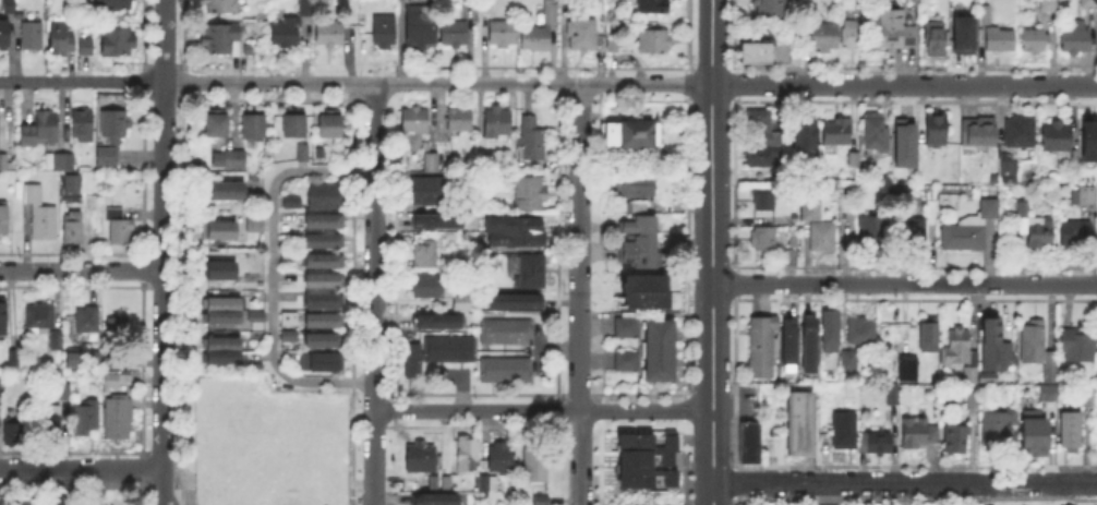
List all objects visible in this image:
building: (470, 1)
building: (568, 2)
building: (1088, 4)
building: (114, 5)
building: (1050, 5)
building: (9, 8)
building: (768, 8)
building: (221, 9)
building: (306, 9)
building: (653, 9)
building: (987, 15)
building: (547, 27)
building: (421, 28)
building: (891, 29)
building: (961, 33)
building: (385, 34)
building: (852, 34)
building: (286, 35)
building: (456, 35)
building: (329, 37)
building: (503, 37)
building: (33, 38)
building: (583, 38)
building: (4, 39)
building: (652, 39)
building: (911, 39)
building: (61, 40)
building: (825, 40)
building: (937, 40)
building: (1002, 40)
building: (222, 44)
building: (1036, 44)
building: (117, 46)
building: (1076, 46)
building: (85, 47)
building: (614, 48)
building: (767, 57)
road: (721, 68)
road: (82, 79)
road: (269, 81)
road: (543, 82)
road: (904, 84)
building: (760, 123)
building: (292, 124)
building: (460, 124)
building: (251, 125)
building: (417, 125)
building: (83, 127)
road: (375, 127)
road: (580, 128)
building: (936, 128)
building: (114, 129)
building: (217, 129)
building: (495, 130)
building: (40, 131)
building: (1088, 131)
building: (876, 134)
building: (1022, 134)
building: (839, 135)
building: (980, 136)
building: (331, 140)
building: (807, 140)
building: (1058, 141)
building: (634, 143)
building: (902, 143)
building: (531, 146)
building: (301, 153)
building: (108, 158)
building: (762, 158)
building: (60, 161)
building: (236, 161)
building: (3, 163)
building: (433, 166)
building: (788, 169)
building: (1008, 172)
building: (1051, 180)
building: (630, 183)
building: (530, 191)
building: (321, 194)
building: (431, 194)
building: (221, 196)
building: (289, 200)
building: (1087, 200)
building: (93, 205)
building: (634, 205)
building: (764, 205)
building: (813, 212)
building: (2, 216)
building: (40, 217)
building: (438, 218)
building: (323, 221)
building: (253, 224)
building: (516, 228)
building: (120, 230)
building: (74, 231)
building: (971, 231)
building: (1036, 232)
building: (873, 233)
building: (916, 233)
building: (222, 235)
building: (1077, 237)
building: (763, 238)
building: (636, 240)
building: (823, 240)
building: (323, 241)
road: (164, 252)
road: (712, 252)
building: (288, 257)
building: (426, 258)
building: (323, 262)
building: (532, 269)
road: (82, 270)
road: (272, 273)
building: (220, 276)
building: (322, 282)
road: (905, 282)
building: (427, 288)
building: (642, 289)
road: (374, 290)
road: (579, 291)
building: (514, 299)
building: (322, 302)
building: (465, 305)
building: (224, 313)
building: (2, 315)
building: (41, 315)
building: (286, 316)
building: (256, 317)
building: (88, 320)
building: (120, 322)
building: (323, 323)
building: (438, 323)
building: (624, 325)
building: (861, 333)
building: (506, 334)
building: (829, 335)
building: (289, 336)
building: (931, 337)
building: (52, 338)
building: (786, 339)
building: (323, 341)
building: (804, 345)
building: (1036, 345)
building: (1075, 346)
building: (446, 347)
building: (656, 348)
building: (764, 349)
building: (222, 351)
building: (993, 352)
building: (11, 356)
building: (70, 356)
building: (963, 357)
building: (410, 358)
building: (1096, 358)
building: (624, 359)
building: (849, 359)
building: (323, 362)
building: (255, 366)
building: (507, 371)
building: (905, 372)
building: (118, 380)
building: (64, 390)
building: (1049, 393)
building: (892, 394)
building: (1086, 399)
building: (974, 402)
road: (543, 410)
building: (86, 418)
building: (120, 418)
building: (52, 421)
building: (999, 425)
building: (14, 430)
building: (1096, 431)
building: (804, 433)
building: (846, 434)
building: (915, 434)
building: (1033, 434)
building: (1073, 437)
building: (955, 441)
building: (875, 443)
building: (750, 444)
road: (578, 449)
building: (466, 456)
road: (373, 458)
building: (420, 459)
building: (501, 459)
building: (644, 459)
building: (249, 460)
building: (532, 462)
road: (81, 469)
road: (905, 482)
building: (489, 483)
building: (446, 484)
road: (65, 486)
road: (830, 493)
road: (578, 496)
building: (538, 498)
building: (435, 501)

